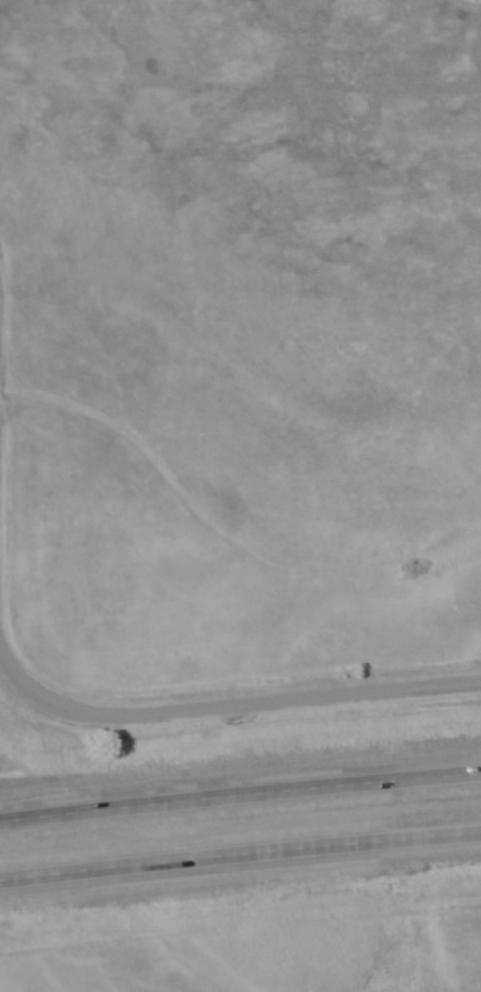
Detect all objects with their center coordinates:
road: (227, 706)
road: (240, 794)
road: (240, 854)
building: (82, 877)

